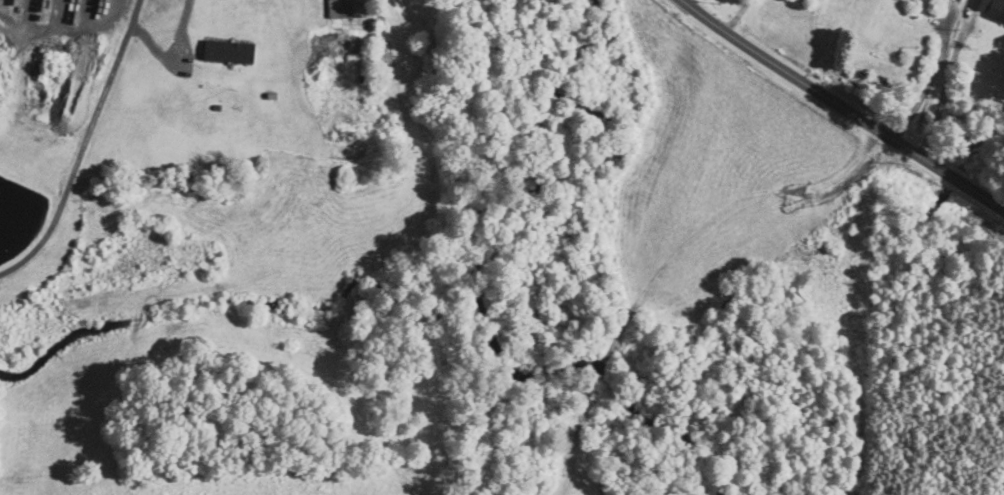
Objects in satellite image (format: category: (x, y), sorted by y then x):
building: (989, 8)
road: (64, 28)
building: (226, 51)
road: (171, 52)
road: (933, 79)
road: (942, 87)
road: (842, 107)
road: (82, 147)

